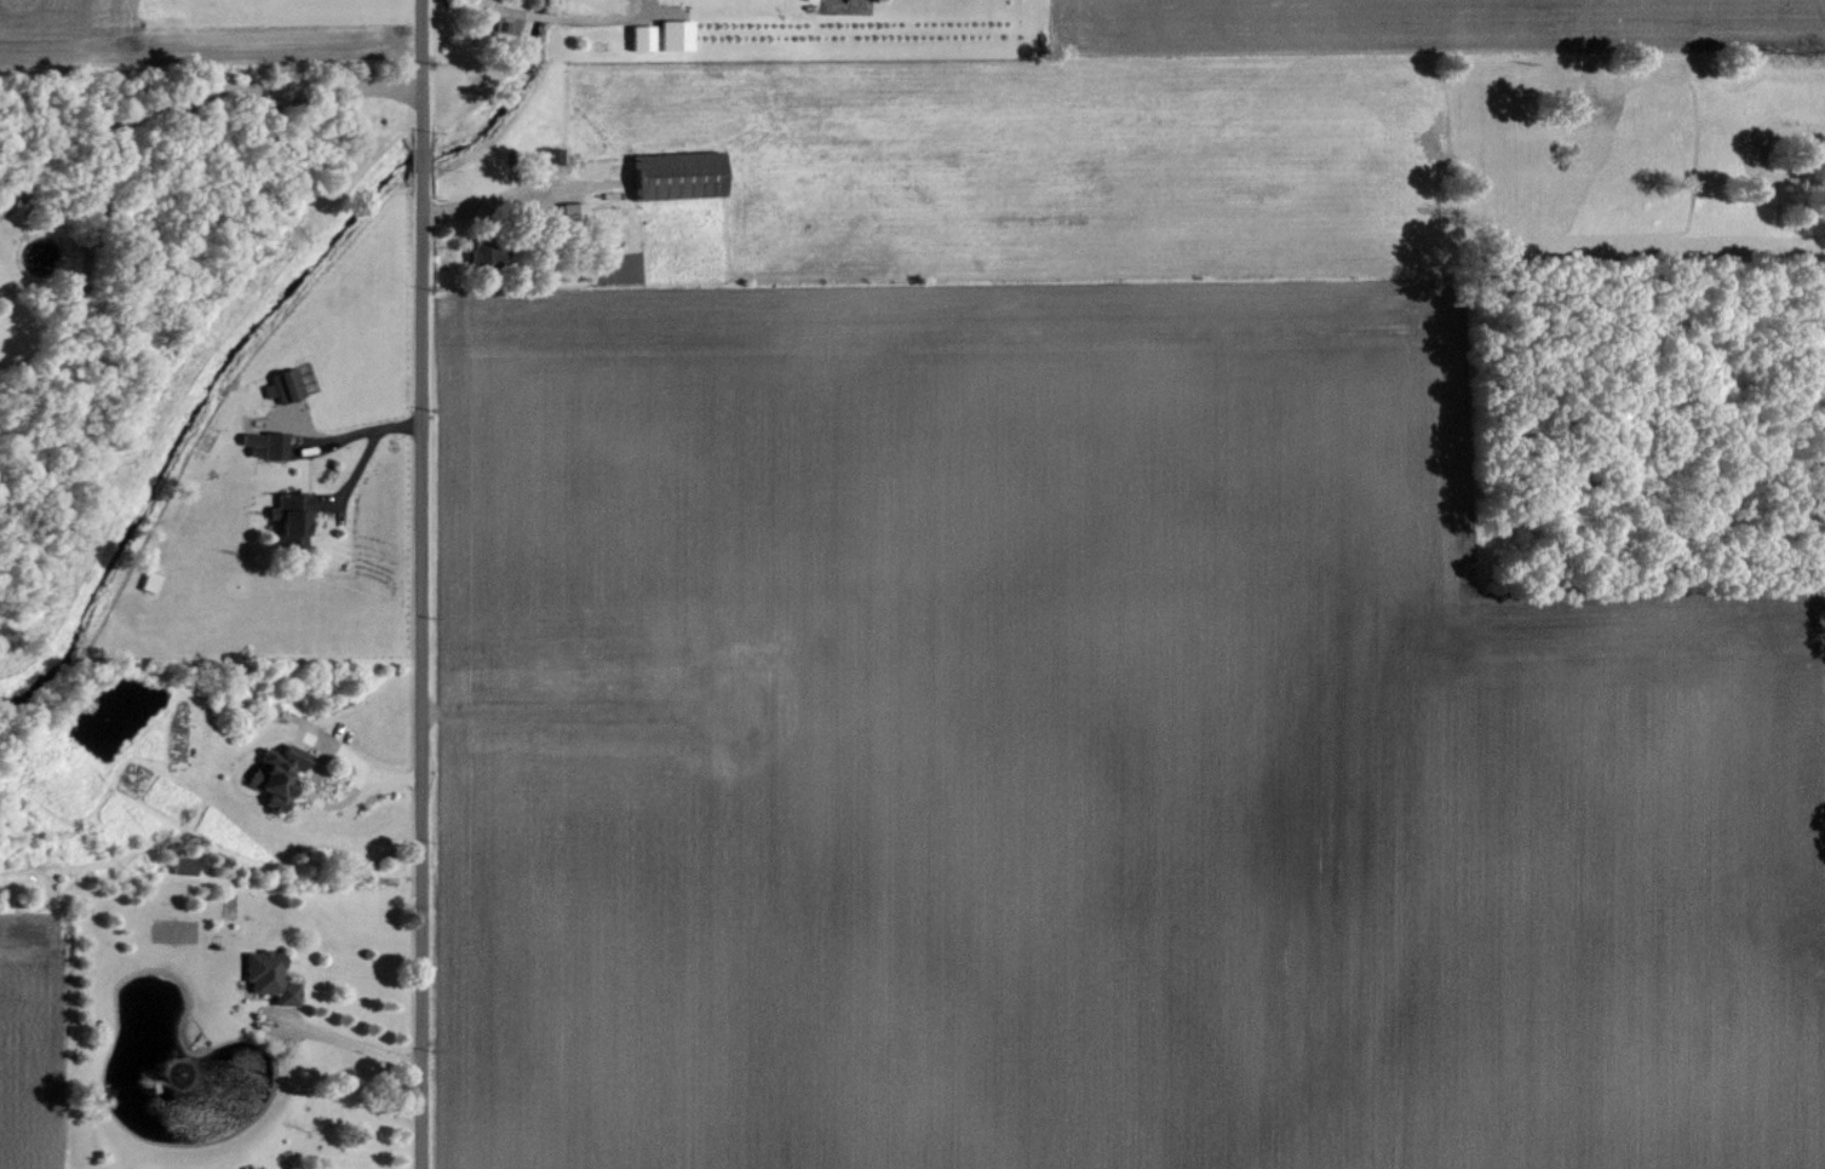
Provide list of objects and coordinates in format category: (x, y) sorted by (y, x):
building: (677, 35)
building: (644, 38)
road: (190, 98)
building: (550, 156)
building: (682, 176)
building: (574, 212)
building: (489, 254)
building: (286, 386)
building: (268, 445)
building: (294, 520)
building: (151, 581)
road: (423, 584)
building: (280, 777)
building: (186, 864)
building: (270, 975)

